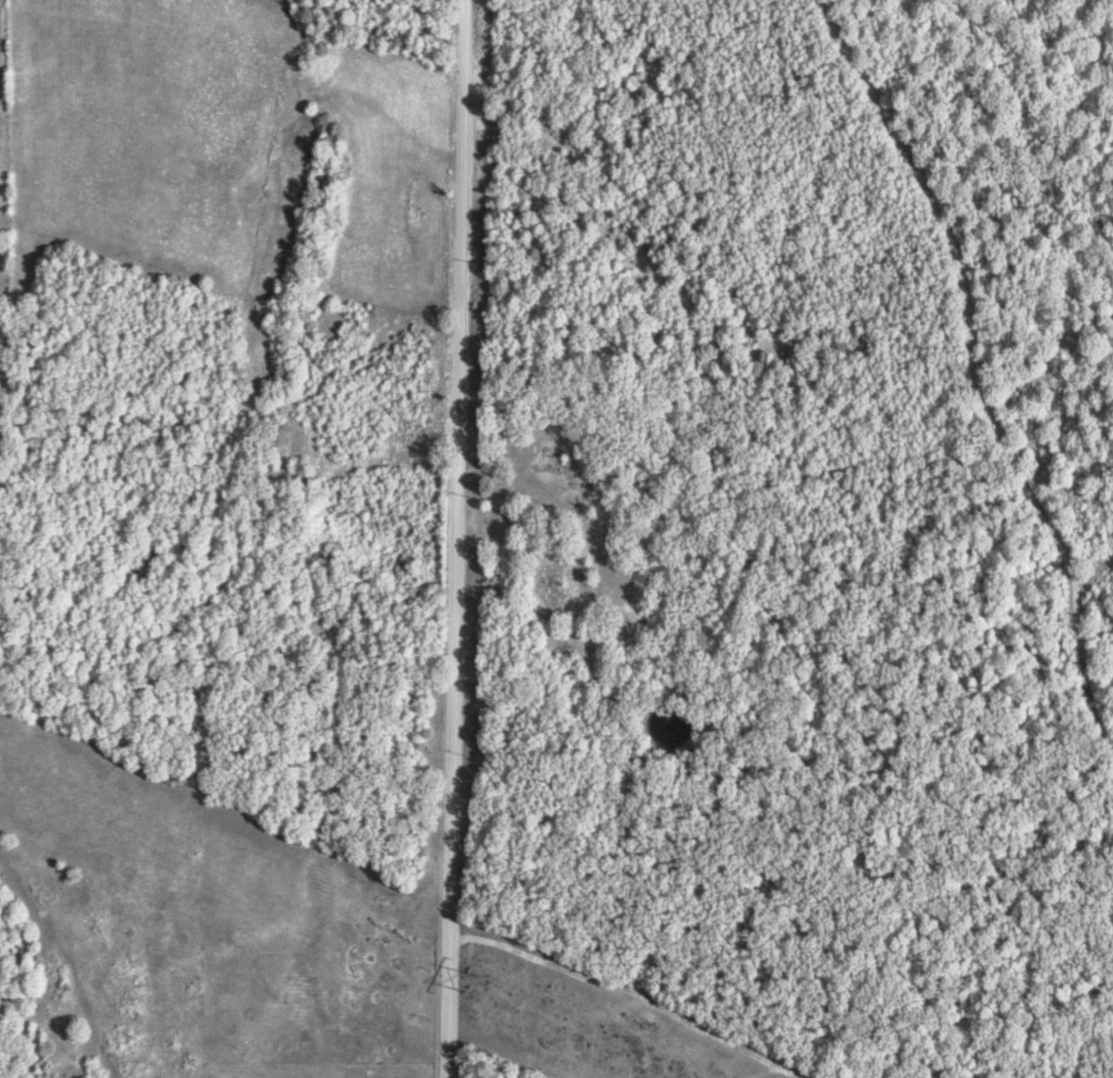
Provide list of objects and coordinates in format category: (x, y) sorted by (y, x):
road: (972, 369)
road: (567, 505)
road: (456, 538)
road: (1096, 571)
power tower: (471, 981)

